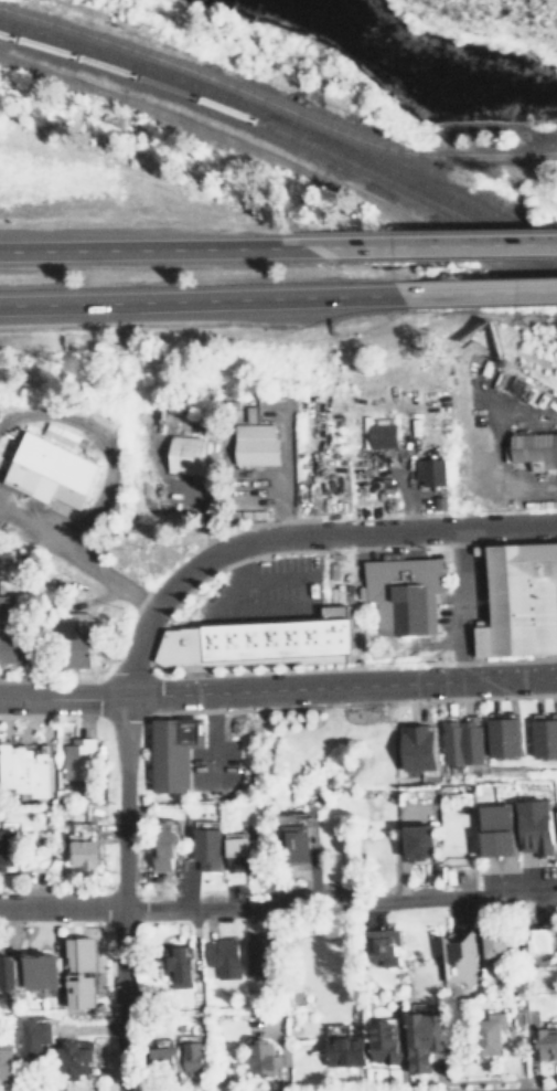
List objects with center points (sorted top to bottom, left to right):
park: (485, 23)
railway: (135, 64)
railway: (285, 135)
railway: (285, 153)
railway: (409, 153)
railway: (414, 180)
road: (426, 239)
road: (148, 243)
road: (478, 287)
road: (199, 293)
building: (379, 432)
building: (254, 444)
building: (534, 451)
building: (182, 455)
building: (427, 470)
building: (47, 472)
road: (294, 531)
road: (76, 552)
road: (276, 581)
parking lot: (265, 591)
building: (403, 593)
building: (511, 601)
parking lot: (555, 608)
road: (235, 611)
building: (9, 635)
building: (261, 639)
building: (73, 643)
road: (278, 688)
building: (508, 734)
building: (493, 735)
building: (537, 735)
building: (550, 735)
building: (461, 740)
building: (415, 745)
building: (171, 749)
building: (76, 758)
building: (24, 766)
building: (539, 820)
building: (503, 825)
building: (415, 839)
building: (162, 841)
building: (234, 844)
building: (290, 844)
building: (7, 845)
building: (204, 846)
building: (81, 851)
road: (118, 892)
road: (278, 902)
building: (540, 940)
building: (497, 944)
building: (385, 945)
building: (223, 956)
building: (461, 957)
building: (258, 958)
building: (40, 967)
building: (180, 967)
building: (7, 971)
building: (75, 972)
building: (491, 1032)
building: (38, 1037)
building: (425, 1039)
building: (385, 1040)
building: (546, 1042)
building: (345, 1050)
building: (165, 1055)
building: (194, 1058)
building: (264, 1058)
building: (73, 1059)
building: (6, 1062)

